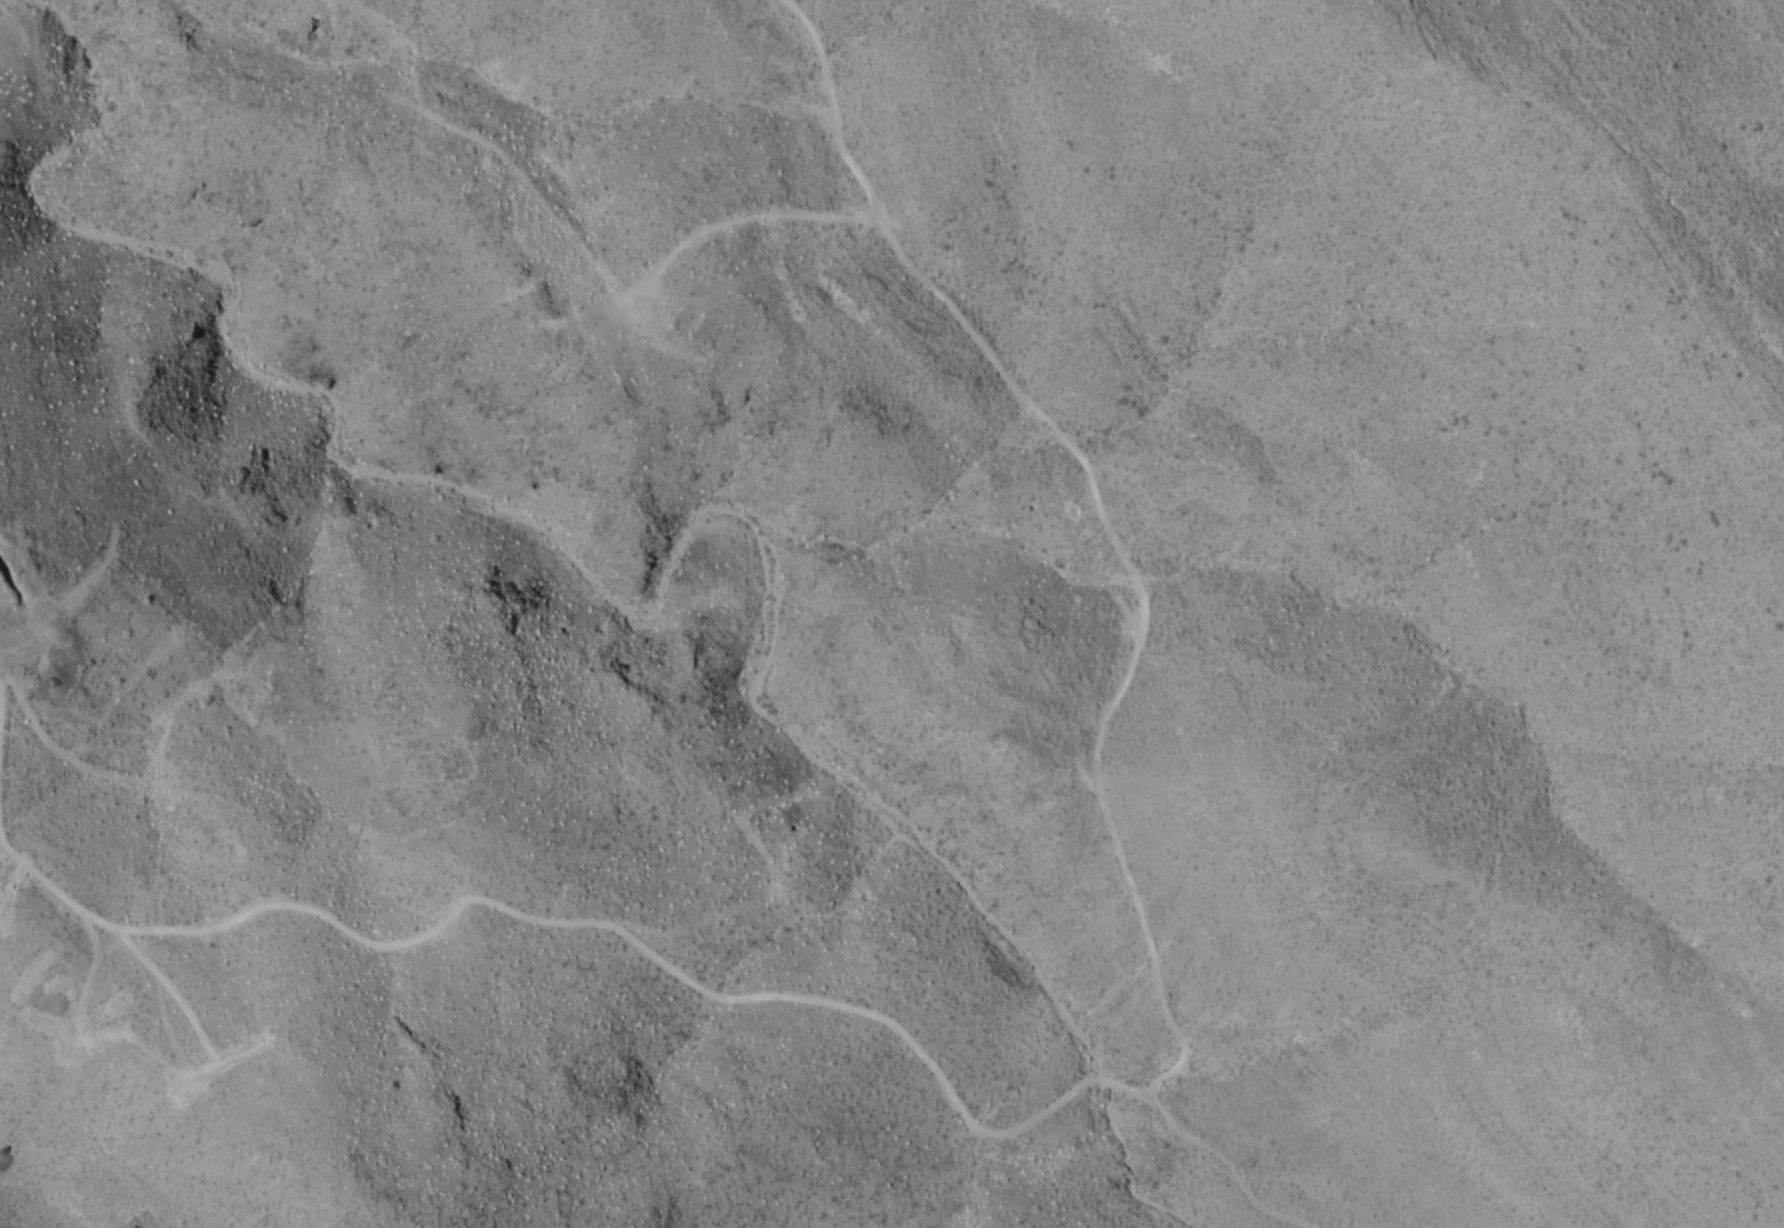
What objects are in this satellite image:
road: (576, 246)
road: (1100, 519)
quarry: (13, 579)
road: (62, 604)
road: (587, 923)
road: (169, 990)
road: (1227, 1167)

